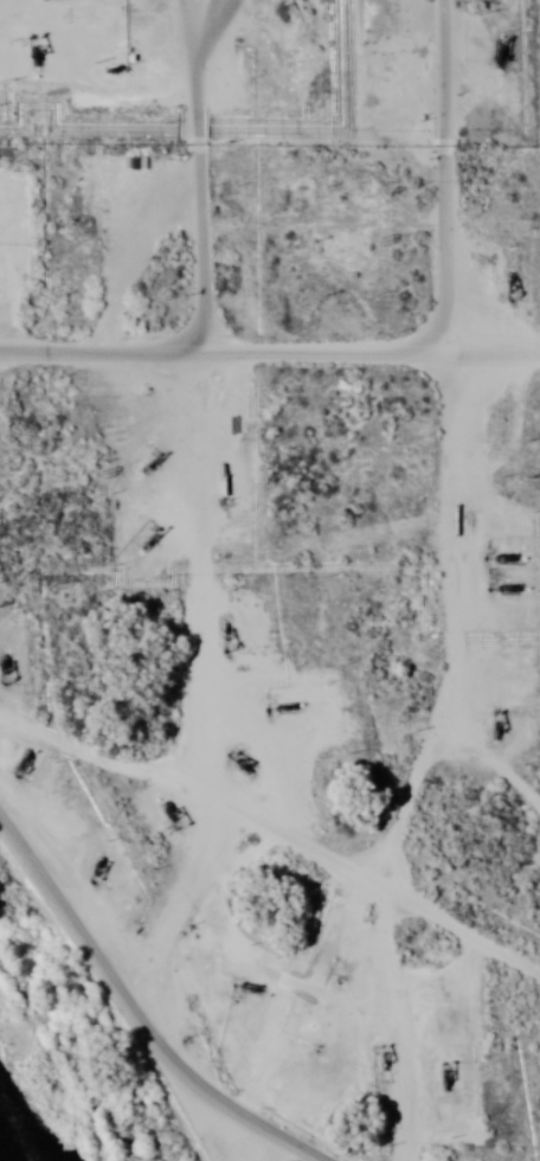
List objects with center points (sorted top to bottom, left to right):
road: (443, 178)
road: (224, 359)
road: (494, 372)
road: (186, 603)
road: (382, 756)
road: (135, 1006)
river: (0, 1160)

